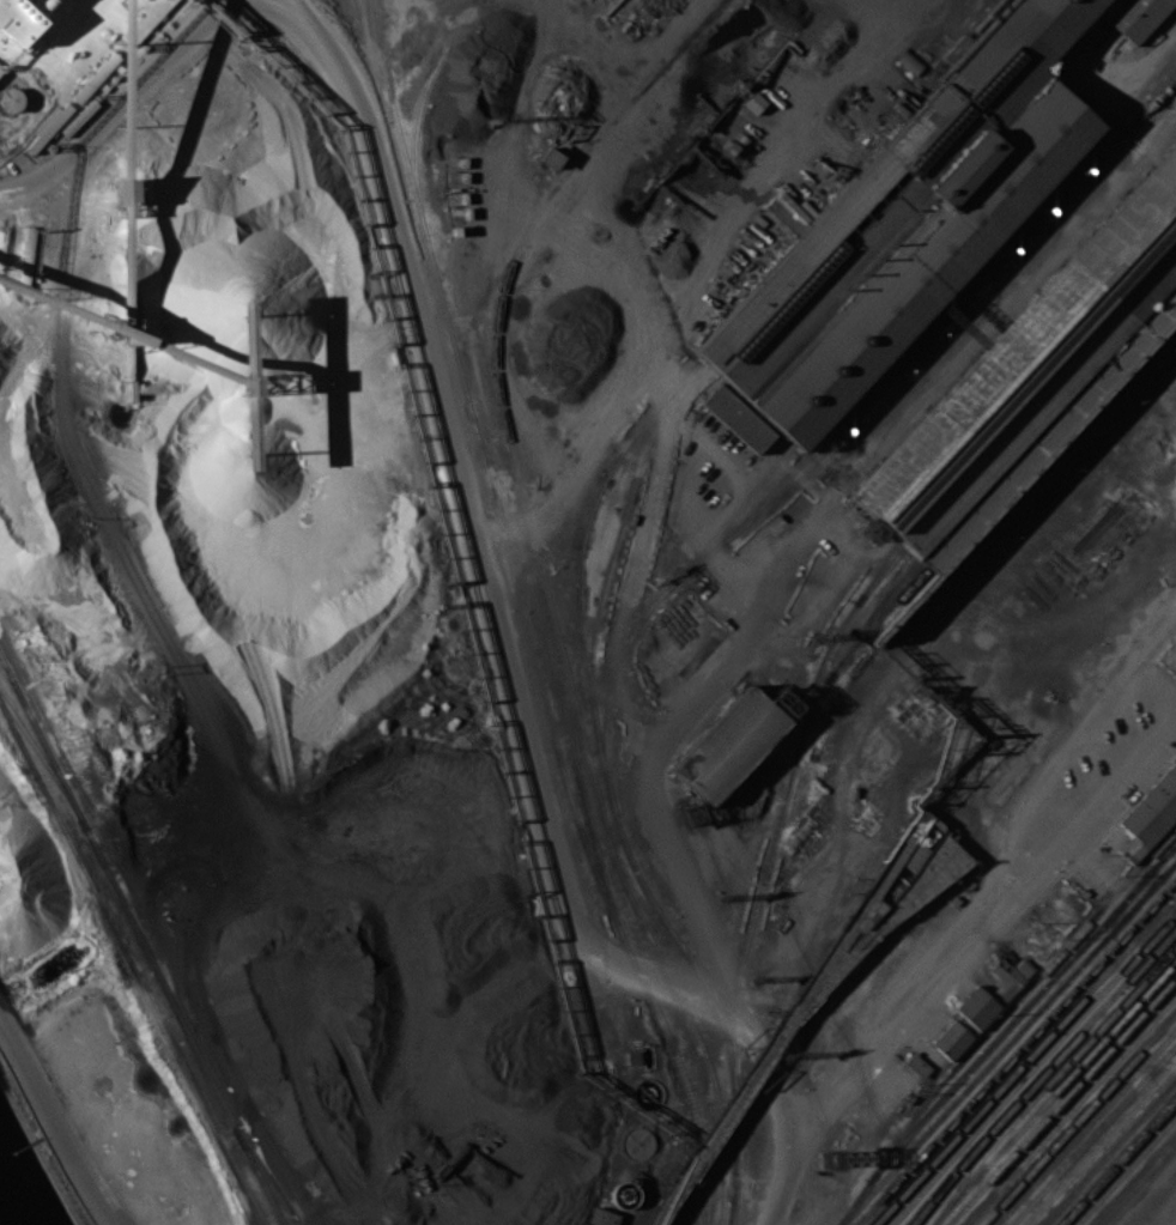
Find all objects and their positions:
building: (1135, 16)
building: (909, 62)
building: (0, 72)
railway: (1133, 79)
building: (10, 99)
road: (122, 103)
railway: (420, 107)
railway: (1132, 126)
building: (551, 158)
building: (908, 224)
railway: (942, 279)
railway: (914, 363)
railway: (459, 366)
building: (1032, 374)
road: (662, 380)
railway: (844, 416)
building: (740, 418)
railway: (508, 435)
railway: (731, 516)
road: (805, 521)
railway: (618, 533)
railway: (879, 575)
road: (502, 621)
railway: (875, 623)
building: (673, 644)
railway: (844, 655)
railway: (550, 666)
road: (897, 674)
building: (726, 746)
railway: (43, 758)
railway: (608, 786)
building: (1154, 805)
railway: (780, 813)
road: (975, 936)
railway: (143, 938)
railway: (865, 941)
railway: (129, 963)
railway: (642, 976)
building: (993, 993)
railway: (1016, 999)
railway: (788, 1023)
railway: (1004, 1031)
building: (951, 1039)
railway: (1007, 1042)
railway: (1017, 1053)
railway: (1024, 1060)
building: (916, 1065)
railway: (1033, 1066)
railway: (711, 1072)
railway: (1041, 1075)
railway: (1049, 1080)
railway: (1054, 1091)
railway: (1062, 1100)
railway: (1069, 1110)
railway: (1077, 1117)
railway: (1085, 1127)
railway: (1093, 1135)
railway: (1101, 1144)
railway: (1109, 1152)
railway: (1116, 1160)
railway: (1157, 1165)
railway: (1125, 1170)
railway: (1132, 1178)
railway: (1141, 1187)
road: (1165, 1214)
building: (602, 1217)

